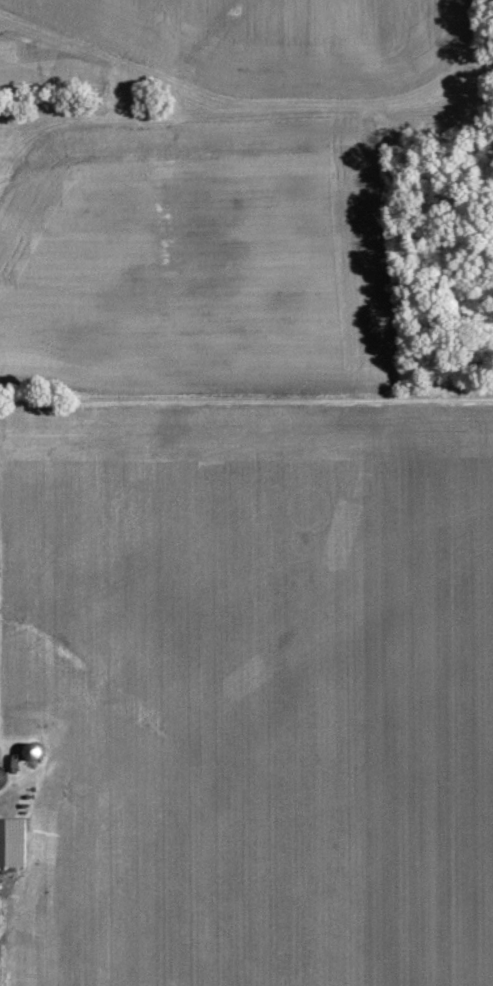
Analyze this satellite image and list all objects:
road: (296, 146)
building: (2, 755)
building: (15, 841)

